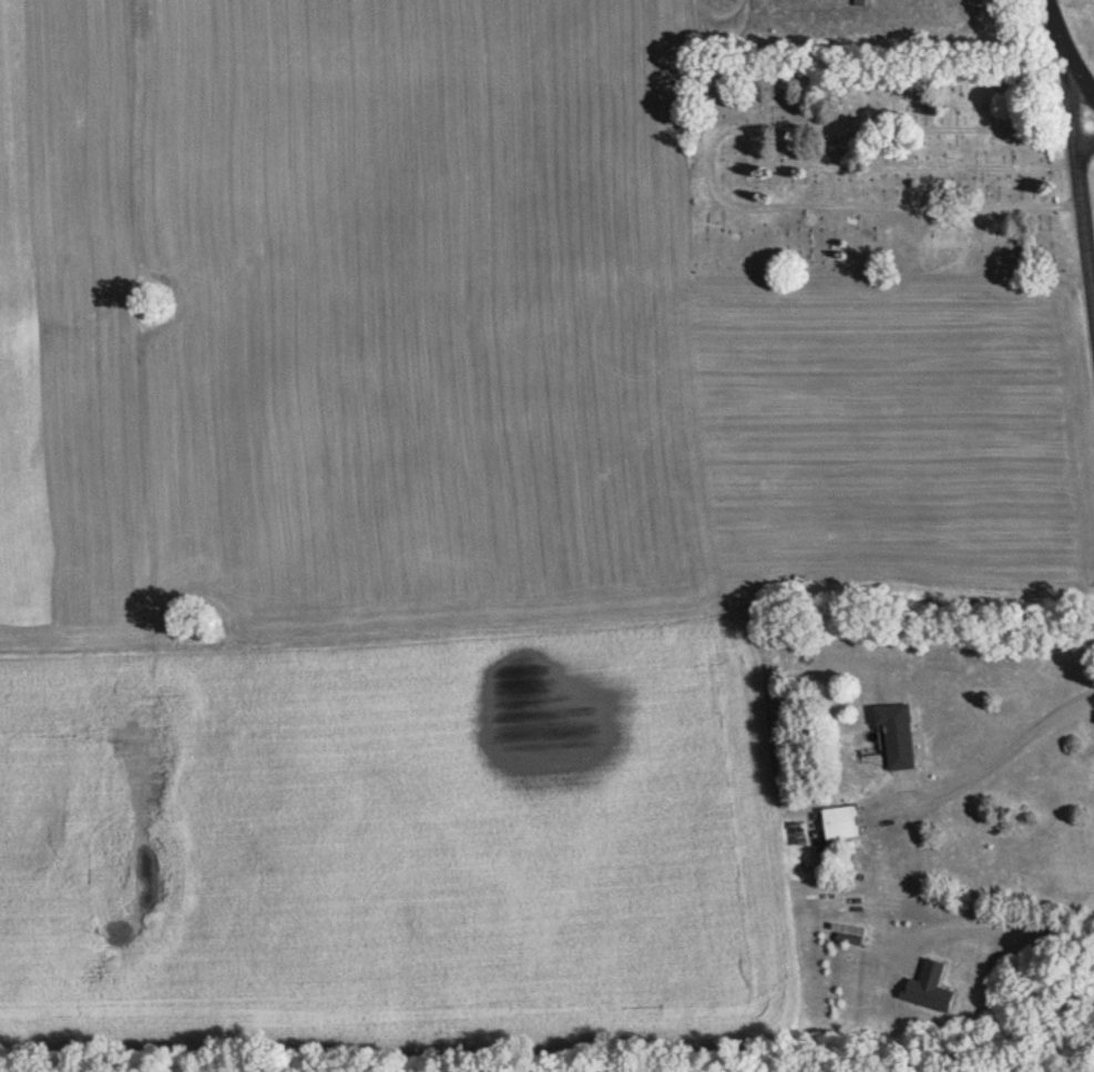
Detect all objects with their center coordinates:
road: (1062, 39)
road: (1086, 85)
park: (873, 165)
road: (1080, 186)
building: (897, 736)
road: (1000, 758)
building: (842, 824)
road: (991, 920)

